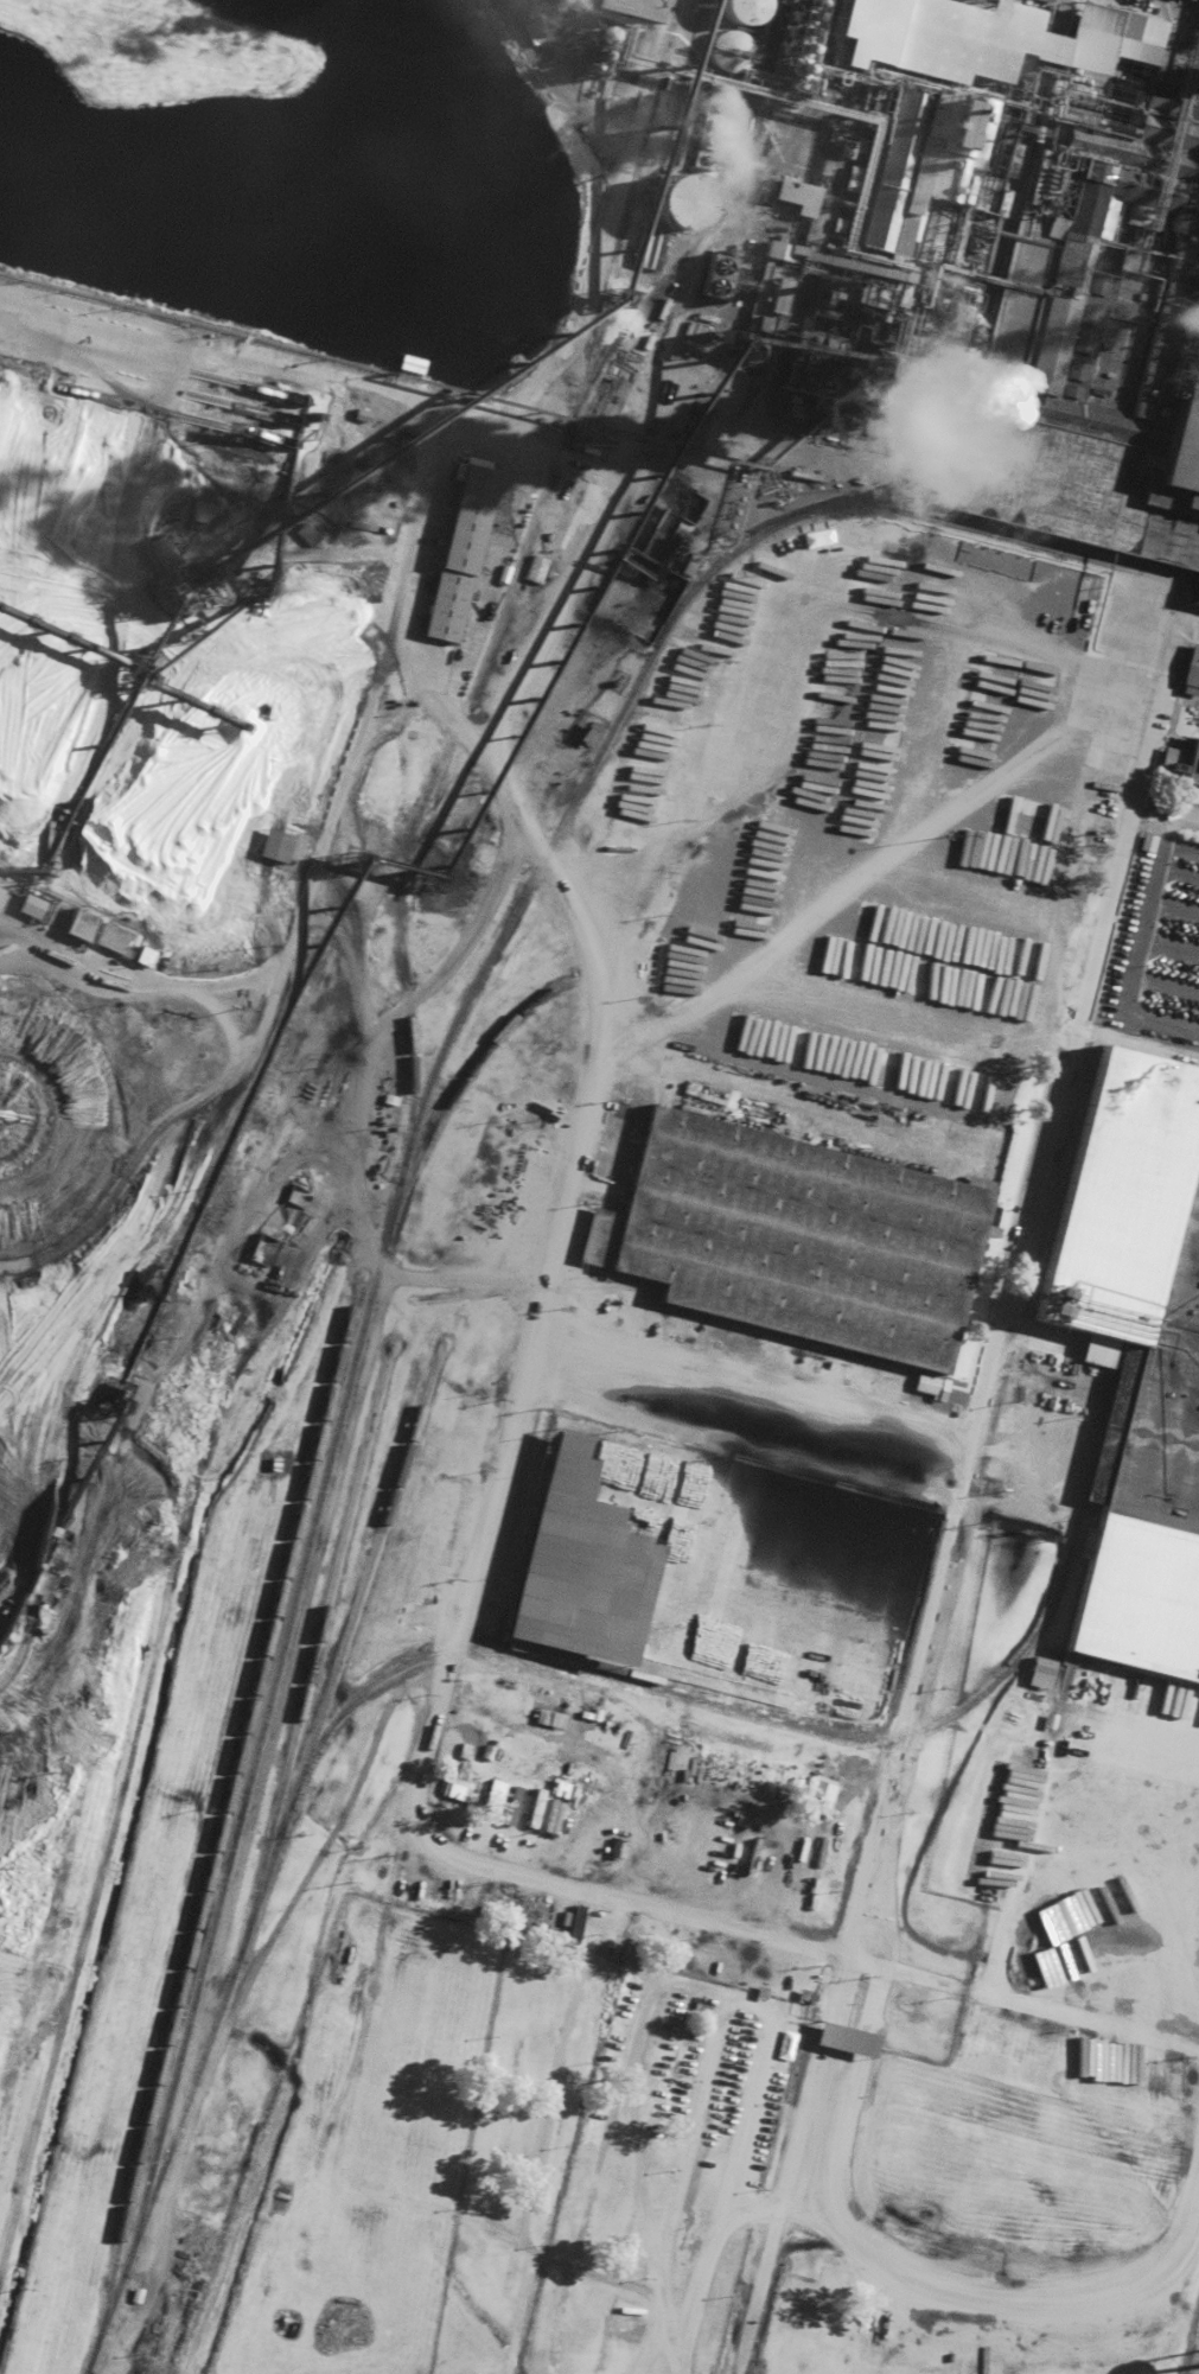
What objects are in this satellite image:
railway: (699, 233)
road: (470, 409)
railway: (912, 471)
railway: (939, 502)
railway: (1013, 540)
railway: (1140, 567)
railway: (1167, 581)
railway: (508, 591)
road: (1137, 1054)
railway: (449, 1095)
railway: (384, 1236)
road: (731, 1441)
road: (959, 1495)
railway: (362, 1583)
railway: (311, 1660)
railway: (927, 1724)
railway: (317, 1742)
railway: (217, 1832)
road: (388, 1909)
road: (802, 1947)

